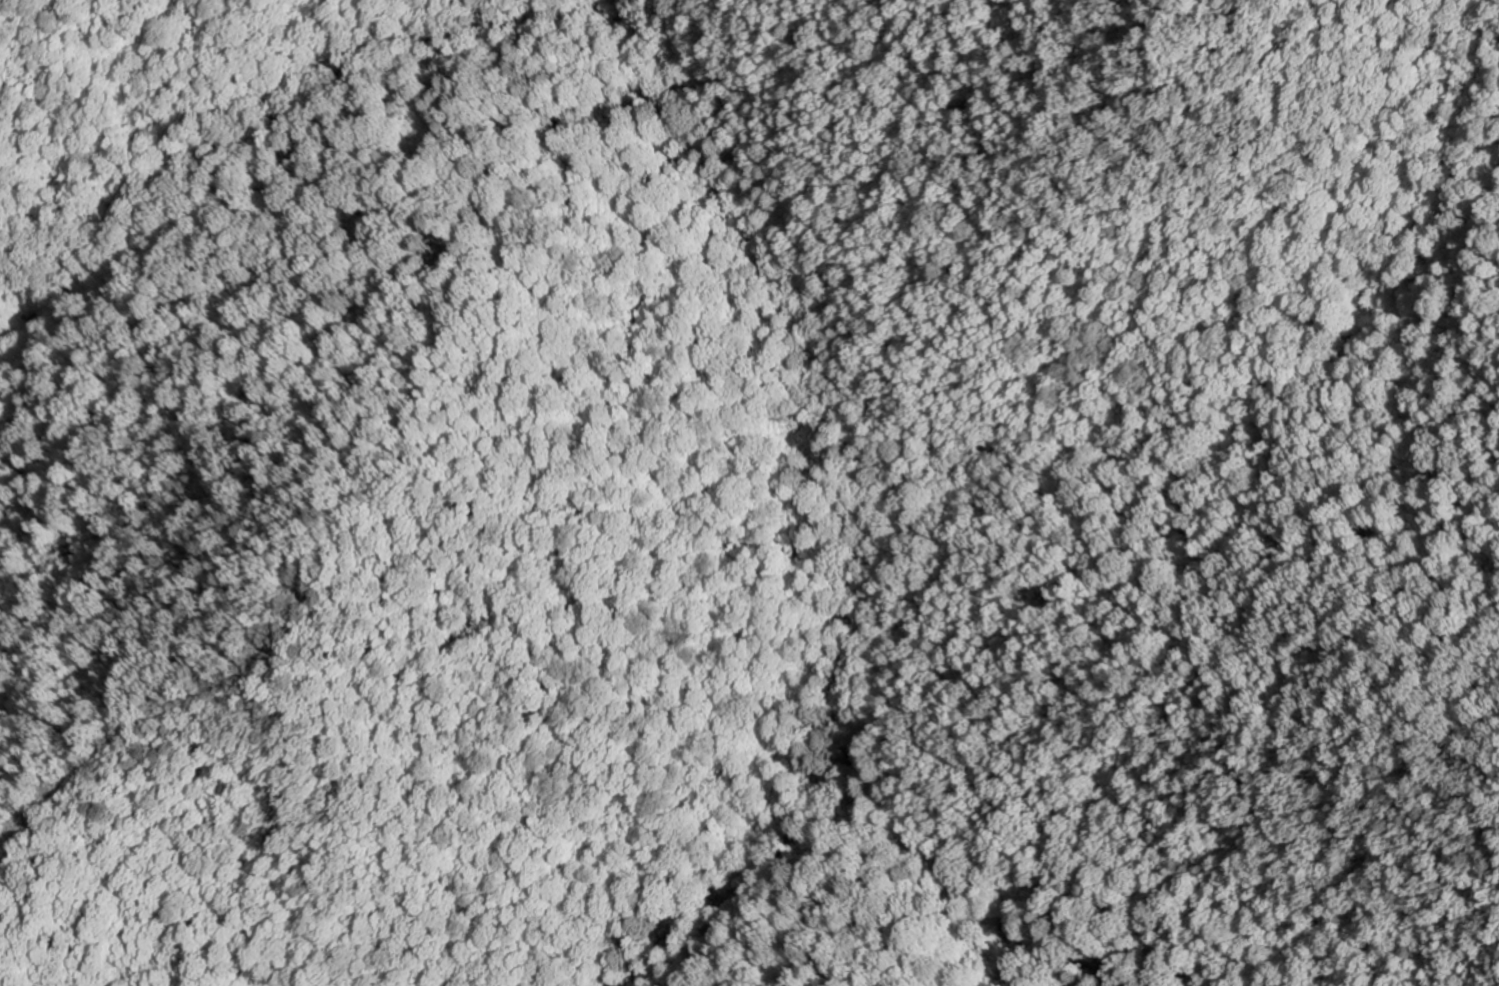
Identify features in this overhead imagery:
road: (18, 851)

